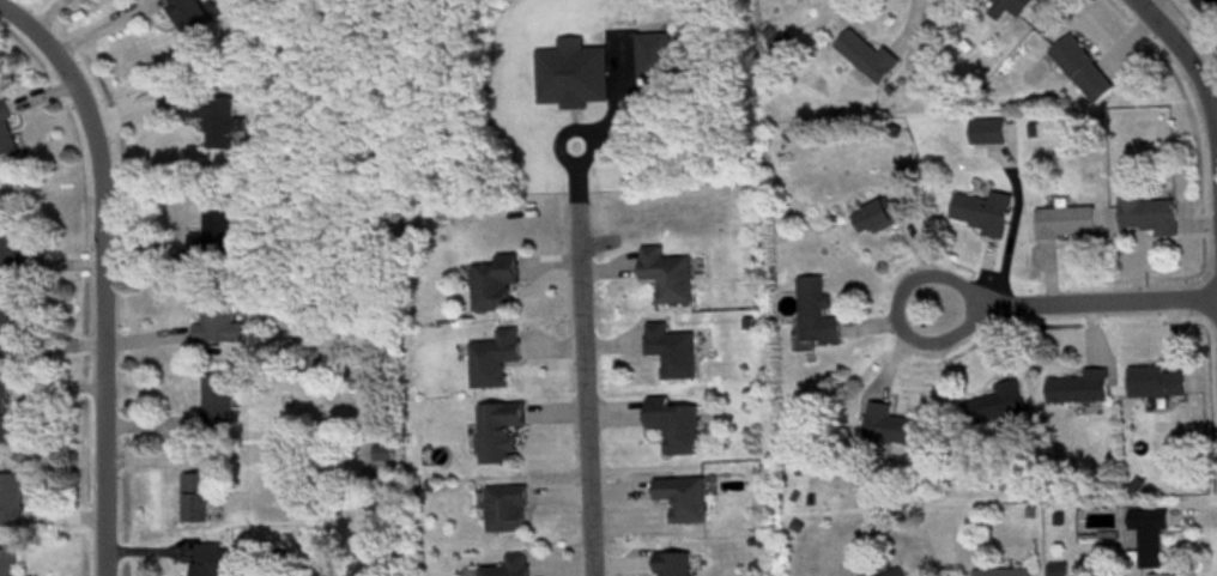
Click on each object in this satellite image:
building: (1009, 8)
building: (1207, 8)
road: (42, 13)
building: (190, 17)
road: (92, 23)
building: (870, 59)
road: (1192, 69)
building: (1084, 71)
building: (216, 120)
building: (7, 135)
building: (1144, 207)
building: (977, 210)
building: (879, 211)
building: (1064, 218)
building: (211, 234)
building: (8, 241)
building: (666, 272)
road: (98, 274)
building: (492, 280)
road: (1072, 296)
building: (815, 310)
building: (8, 321)
building: (216, 321)
building: (671, 347)
building: (492, 356)
building: (1155, 378)
building: (1078, 383)
road: (585, 389)
building: (214, 399)
building: (992, 400)
building: (4, 406)
building: (673, 422)
building: (890, 423)
building: (496, 428)
building: (194, 495)
building: (682, 495)
building: (10, 498)
building: (505, 505)
building: (1148, 532)
building: (211, 558)
building: (8, 562)
building: (672, 563)
building: (507, 565)
building: (1000, 570)
building: (890, 571)

